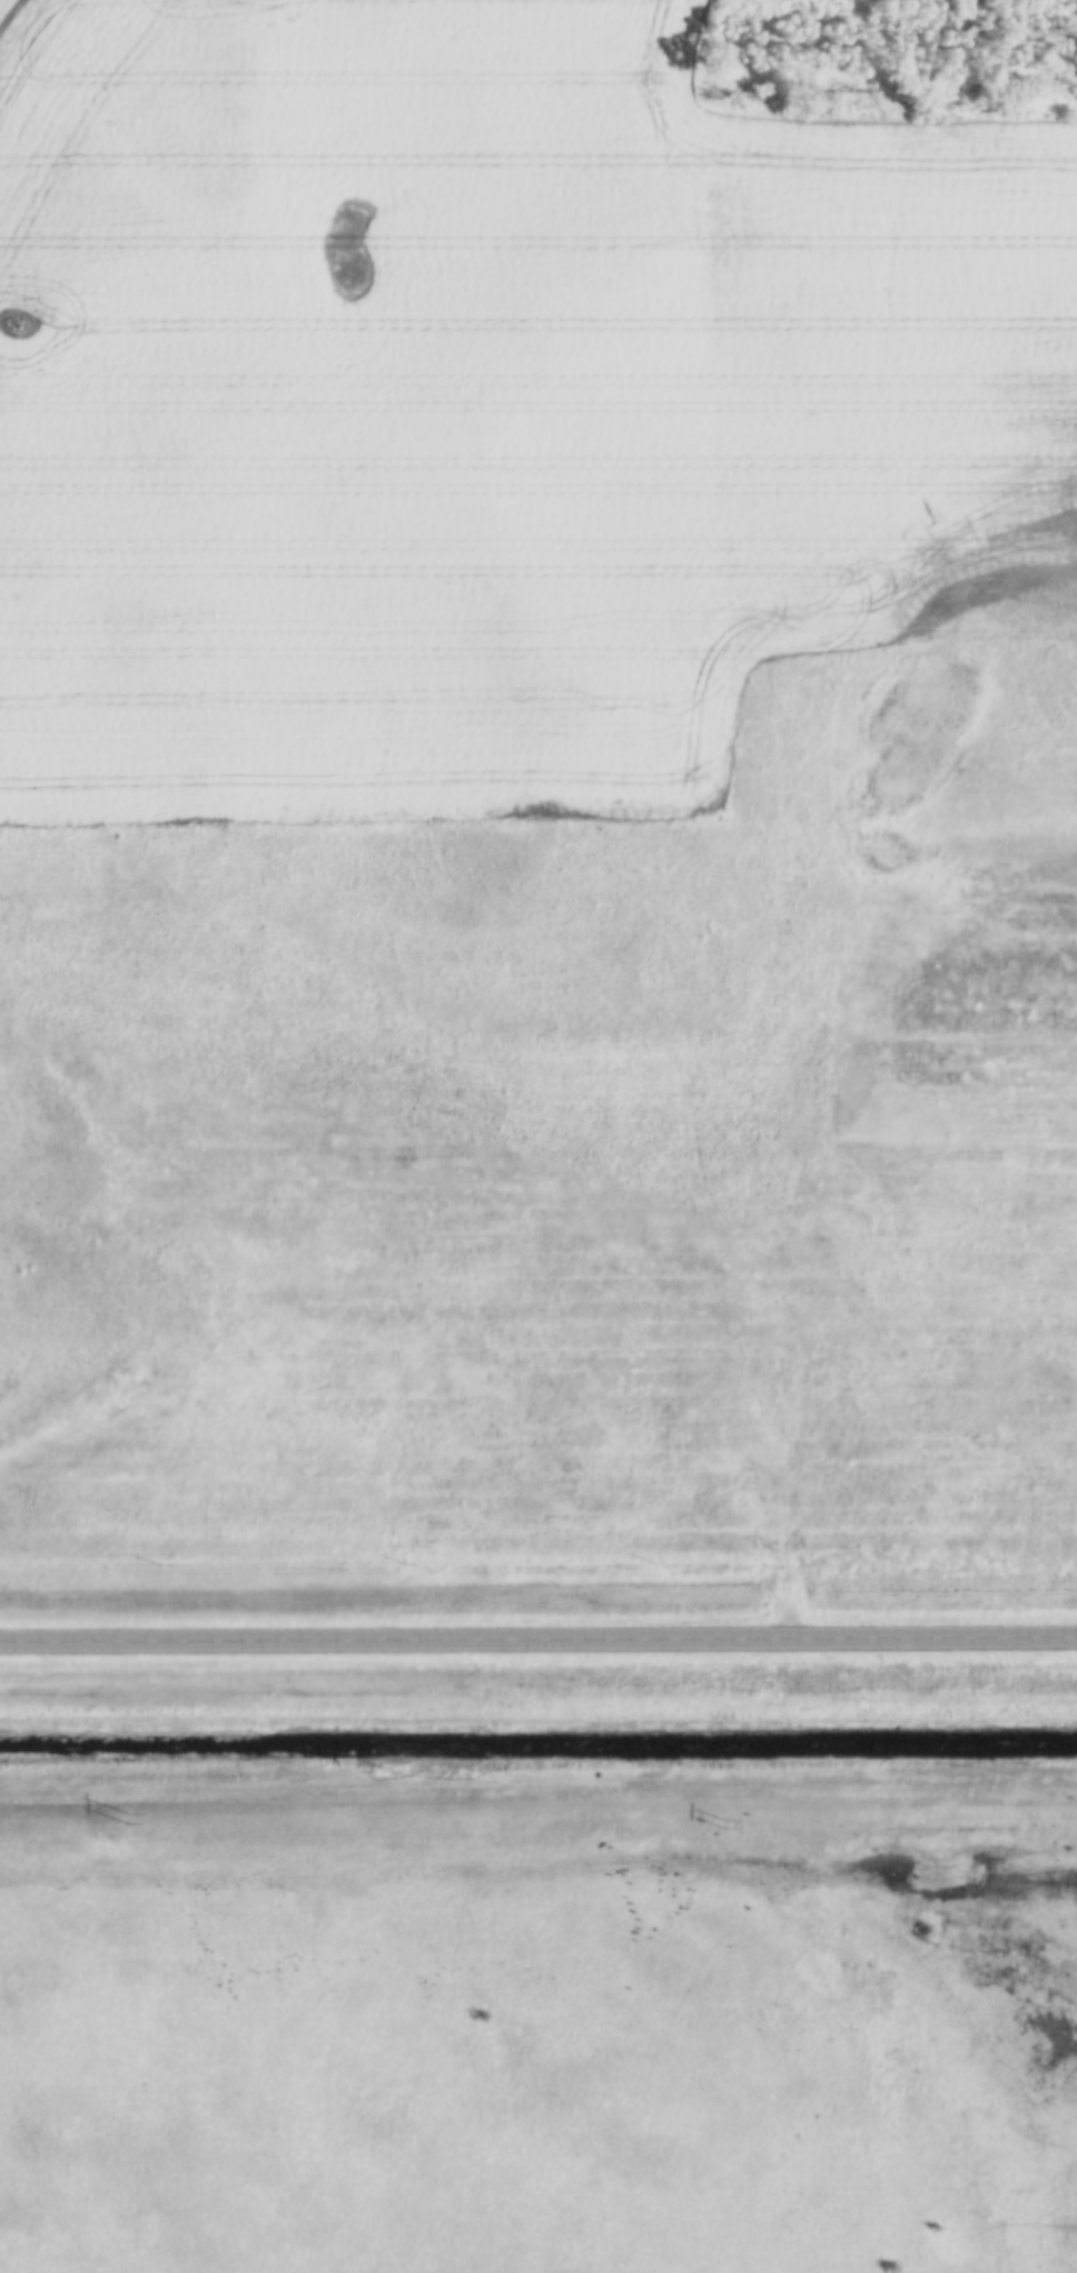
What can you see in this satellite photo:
crop: (486, 405)
road: (538, 1640)
power tower: (123, 1818)
power tower: (723, 1827)

